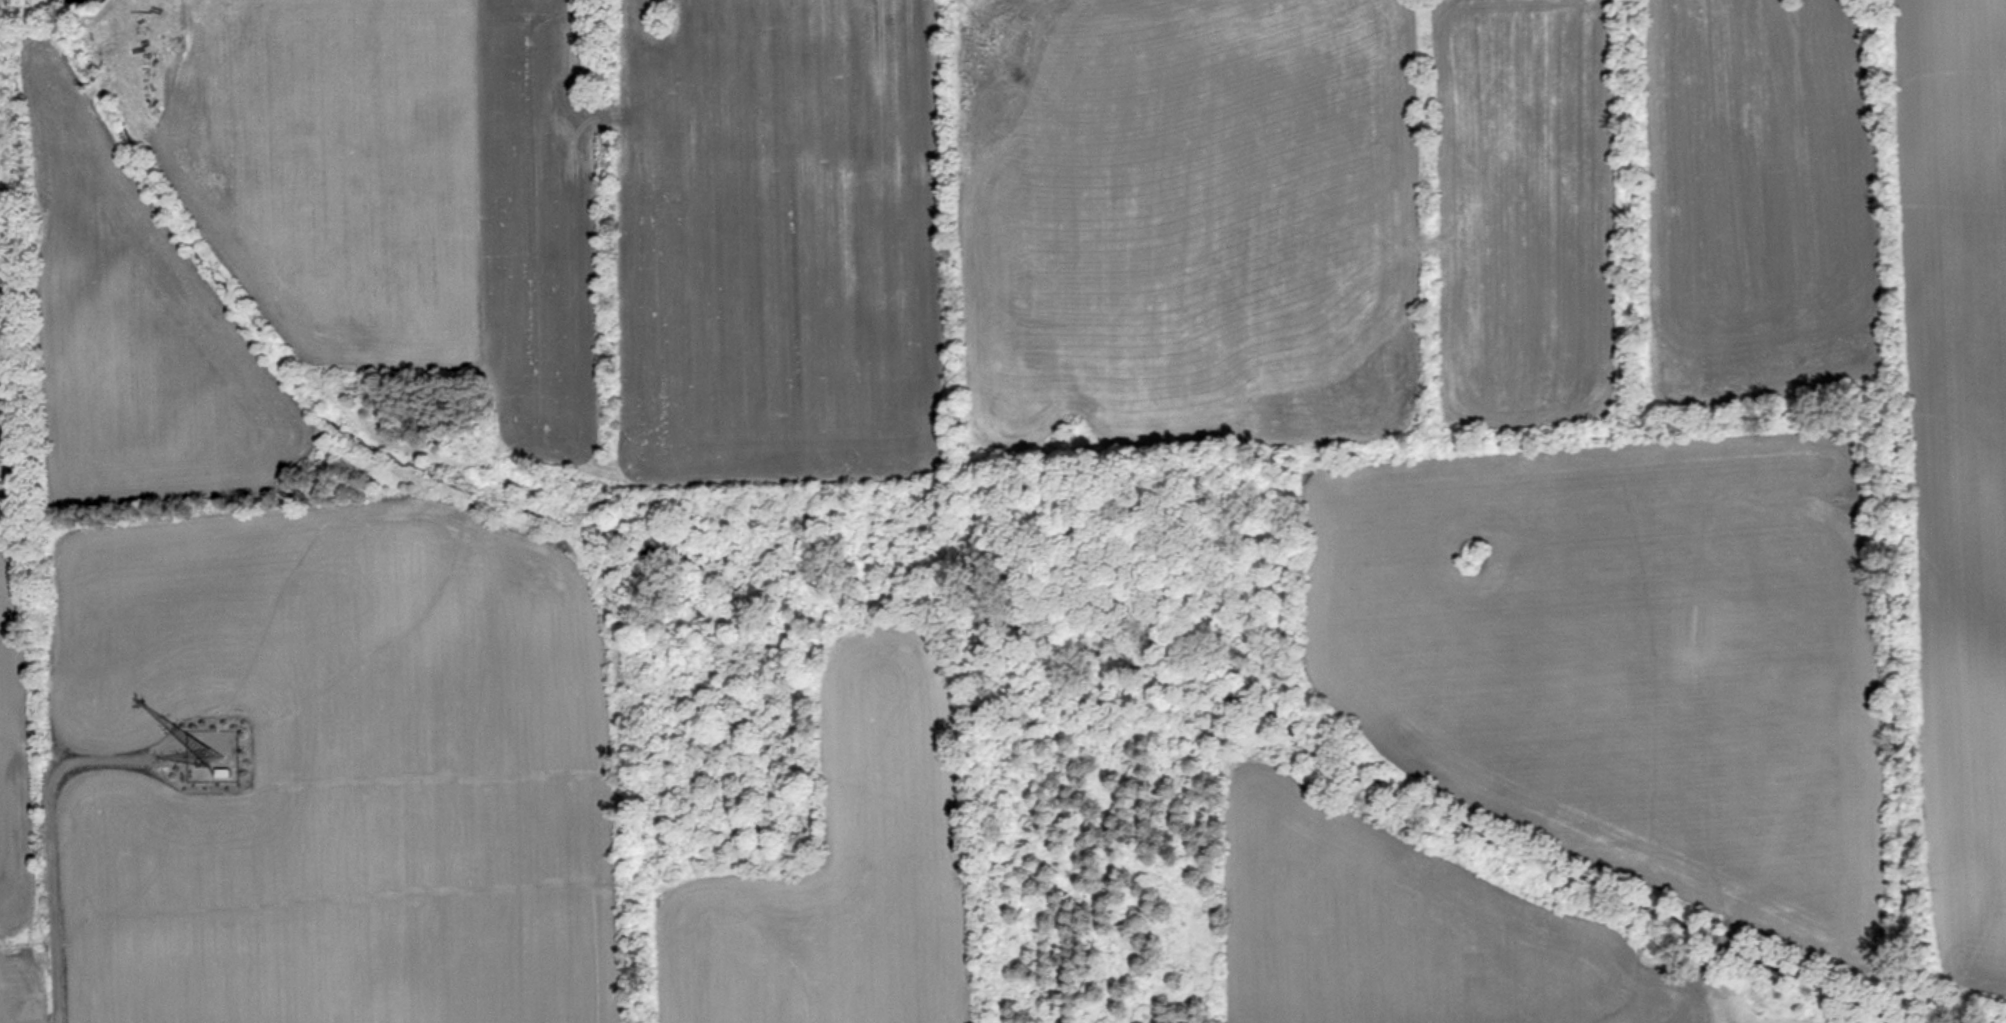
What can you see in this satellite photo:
road: (61, 840)

